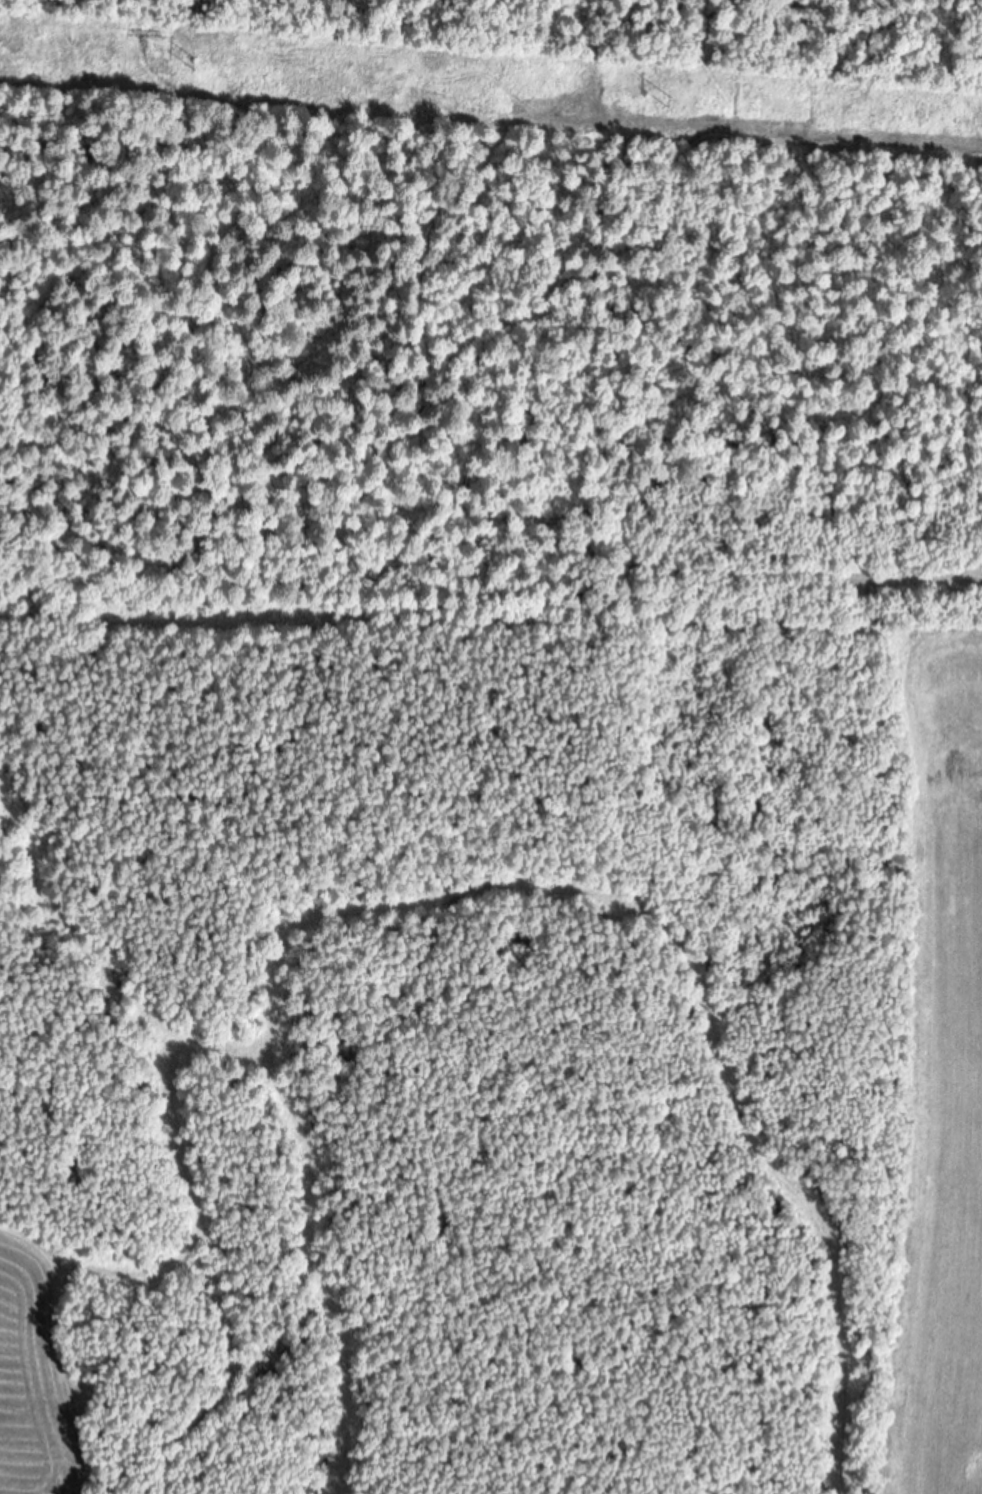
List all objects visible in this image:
power tower: (207, 63)
power tower: (665, 105)

